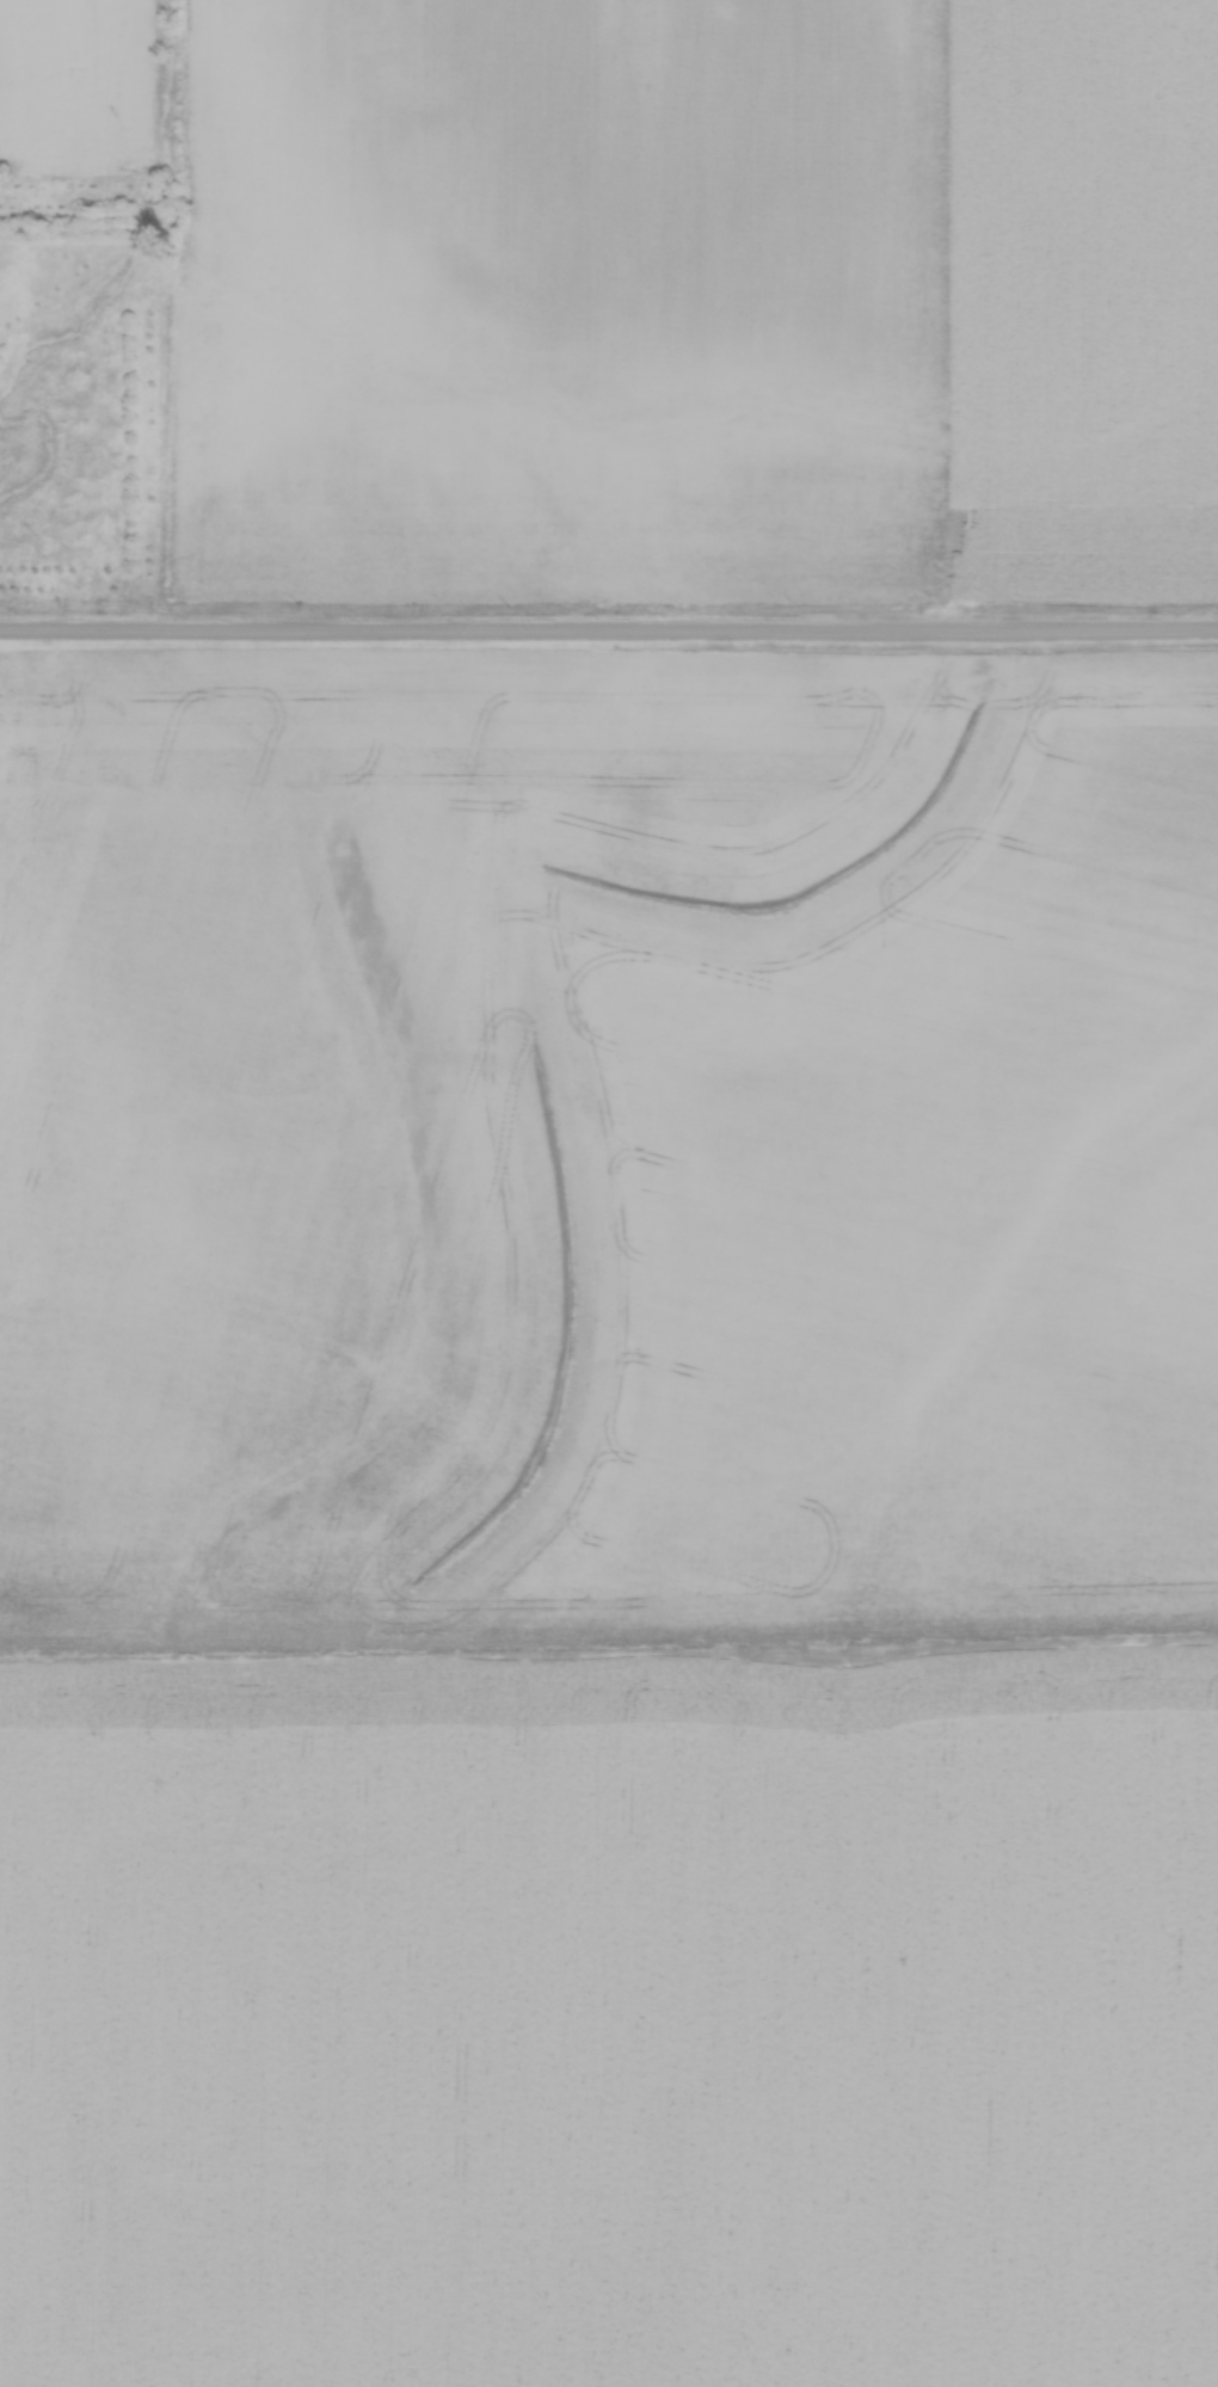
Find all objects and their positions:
road: (608, 630)

